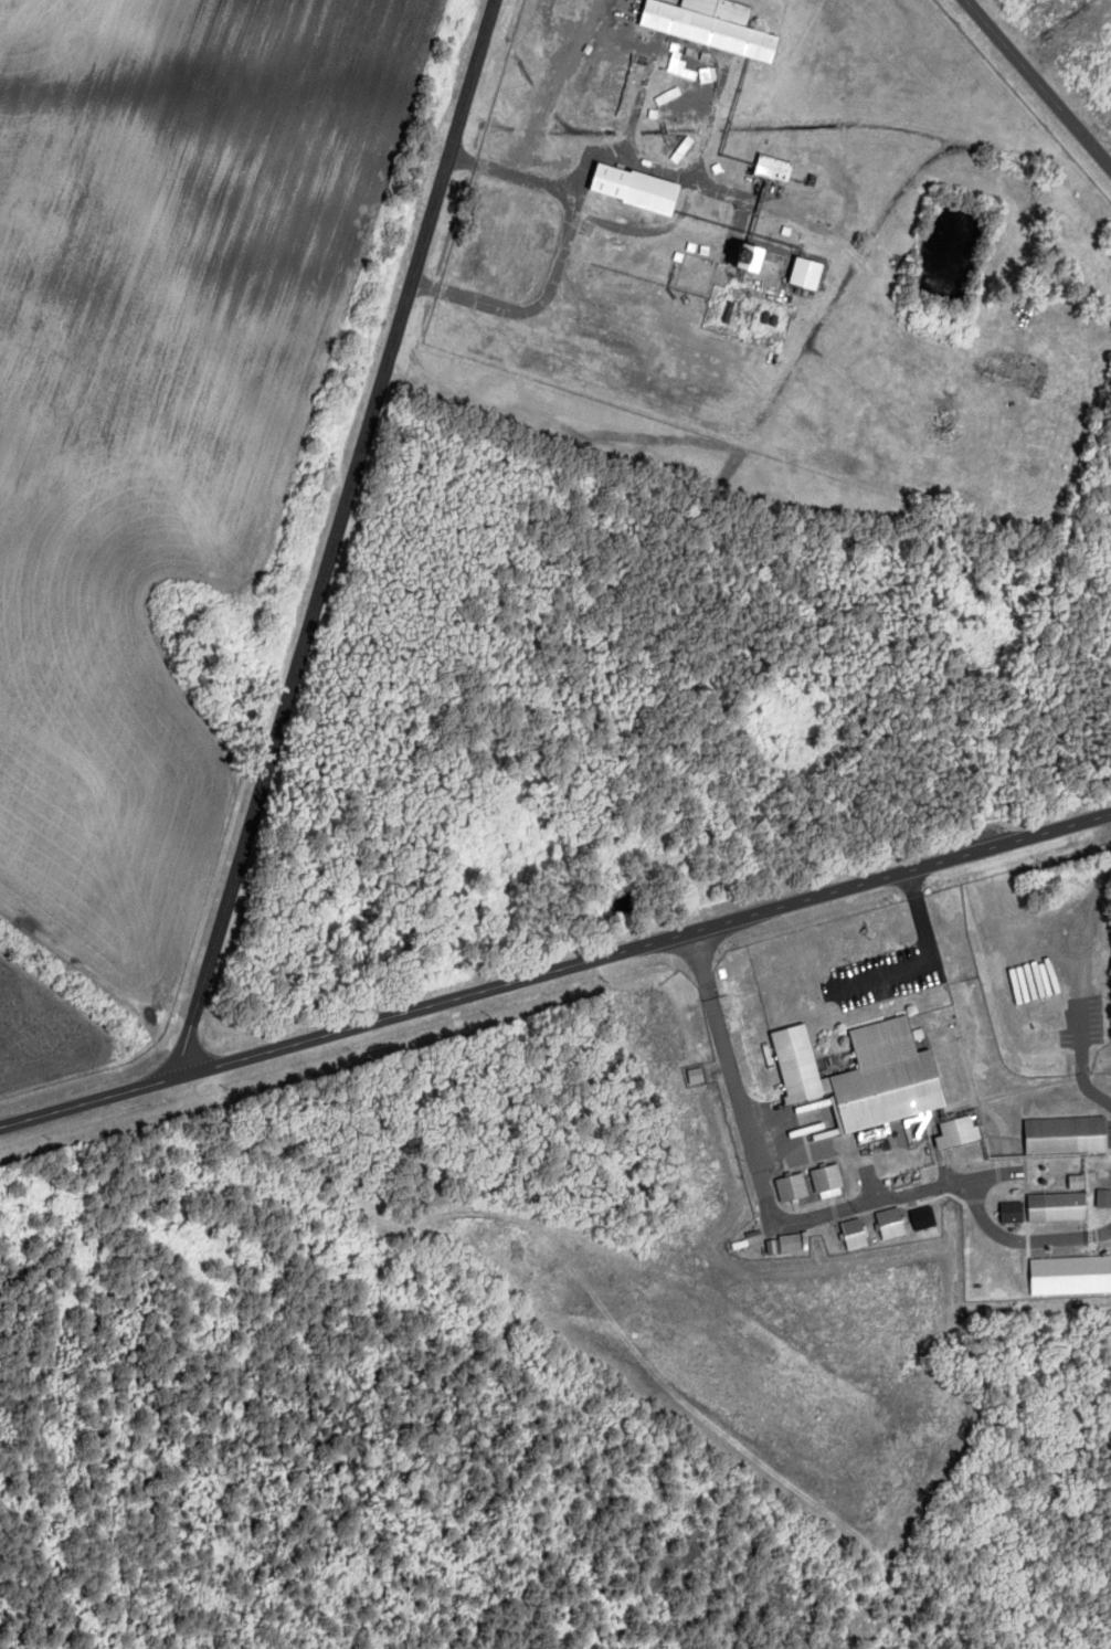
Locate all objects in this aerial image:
building: (711, 27)
road: (1038, 83)
building: (775, 169)
building: (637, 189)
building: (754, 258)
building: (808, 274)
road: (336, 539)
road: (555, 971)
building: (1060, 1021)
building: (868, 1077)
building: (961, 1134)
building: (1068, 1135)
building: (829, 1182)
building: (793, 1190)
building: (1059, 1208)
building: (1013, 1214)
building: (925, 1219)
building: (893, 1225)
building: (856, 1236)
building: (792, 1245)

